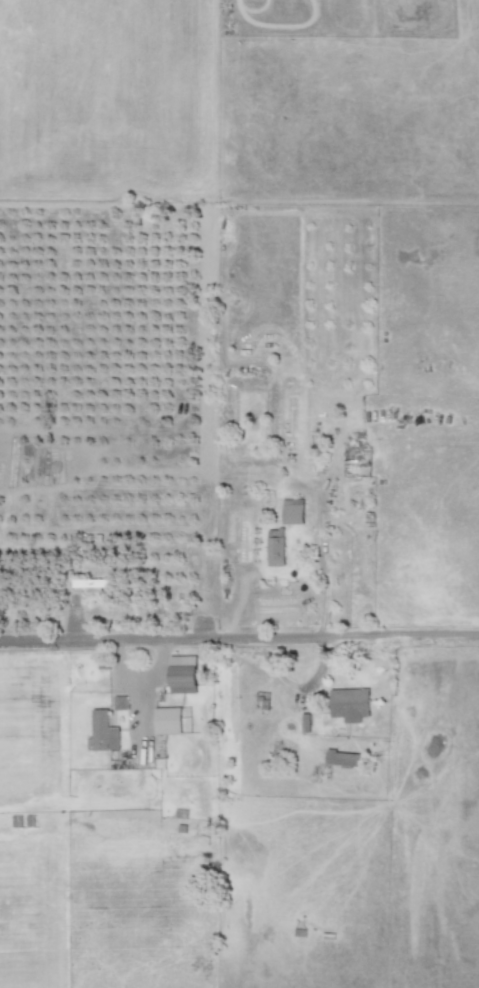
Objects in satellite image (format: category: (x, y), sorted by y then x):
building: (293, 511)
building: (276, 547)
road: (322, 570)
building: (1, 609)
road: (239, 638)
road: (160, 666)
building: (183, 674)
road: (141, 685)
building: (121, 702)
building: (351, 704)
building: (168, 720)
building: (104, 731)
building: (342, 758)

